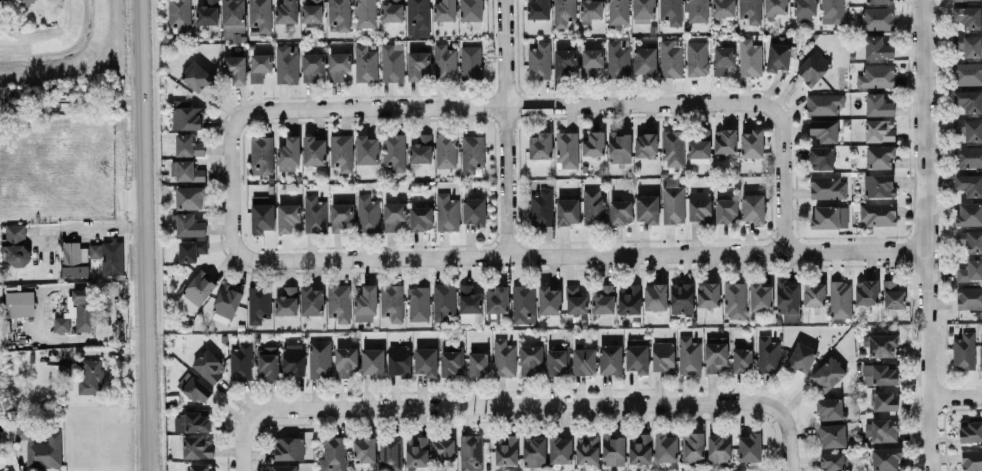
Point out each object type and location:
building: (2, 1)
building: (879, 1)
building: (21, 2)
building: (775, 7)
building: (643, 8)
building: (723, 8)
building: (538, 9)
building: (392, 10)
building: (444, 10)
building: (471, 10)
building: (590, 10)
building: (697, 10)
building: (750, 10)
building: (804, 10)
building: (286, 11)
building: (312, 11)
building: (671, 11)
building: (833, 11)
building: (208, 12)
building: (564, 12)
building: (618, 12)
building: (365, 13)
building: (180, 14)
building: (260, 14)
building: (339, 15)
building: (968, 16)
building: (233, 17)
building: (418, 18)
building: (876, 18)
building: (969, 45)
building: (878, 47)
building: (778, 56)
building: (750, 57)
building: (670, 58)
building: (697, 58)
building: (723, 58)
building: (617, 59)
building: (539, 61)
building: (592, 61)
building: (645, 61)
building: (392, 62)
building: (444, 62)
building: (471, 62)
building: (565, 62)
building: (287, 63)
building: (365, 63)
building: (418, 64)
building: (312, 65)
building: (338, 65)
building: (260, 66)
building: (813, 67)
building: (235, 68)
building: (968, 73)
building: (877, 76)
building: (197, 77)
building: (968, 100)
building: (824, 103)
road: (505, 104)
building: (878, 105)
building: (187, 115)
road: (505, 128)
building: (969, 129)
building: (824, 130)
building: (879, 130)
building: (725, 140)
building: (594, 143)
building: (752, 143)
building: (646, 144)
building: (189, 145)
building: (540, 145)
building: (619, 146)
building: (673, 147)
building: (700, 147)
building: (367, 149)
building: (420, 149)
building: (567, 149)
building: (314, 150)
building: (446, 150)
building: (341, 152)
building: (395, 152)
building: (472, 153)
building: (262, 154)
building: (289, 154)
building: (880, 156)
building: (968, 157)
building: (821, 158)
building: (187, 171)
road: (780, 181)
building: (969, 184)
building: (879, 185)
building: (828, 187)
road: (232, 194)
building: (190, 197)
building: (673, 201)
building: (593, 205)
building: (700, 206)
building: (754, 207)
building: (541, 208)
building: (647, 208)
building: (726, 210)
building: (474, 211)
building: (568, 211)
building: (447, 212)
building: (620, 212)
building: (262, 213)
building: (368, 213)
building: (878, 213)
building: (315, 214)
building: (969, 214)
building: (394, 215)
building: (288, 216)
building: (342, 217)
building: (826, 217)
building: (421, 218)
building: (188, 224)
road: (103, 227)
road: (51, 230)
road: (146, 235)
road: (924, 235)
building: (970, 240)
building: (15, 244)
building: (191, 249)
road: (591, 254)
building: (108, 255)
building: (74, 259)
building: (970, 270)
building: (197, 291)
building: (867, 291)
building: (708, 294)
building: (814, 294)
building: (893, 295)
building: (655, 296)
building: (760, 296)
building: (682, 297)
building: (969, 297)
building: (629, 298)
building: (497, 299)
building: (549, 299)
building: (604, 299)
building: (735, 299)
building: (840, 299)
building: (228, 300)
building: (312, 300)
building: (444, 300)
building: (576, 300)
building: (788, 300)
building: (287, 301)
building: (392, 301)
building: (339, 302)
building: (20, 303)
building: (259, 303)
building: (366, 303)
building: (419, 303)
building: (523, 303)
building: (470, 304)
building: (77, 311)
building: (880, 344)
building: (964, 351)
building: (768, 354)
building: (689, 355)
building: (716, 355)
building: (980, 355)
building: (663, 356)
building: (504, 357)
building: (801, 357)
building: (293, 358)
building: (611, 358)
building: (638, 358)
building: (320, 359)
building: (531, 359)
building: (399, 360)
building: (426, 360)
building: (556, 360)
building: (742, 360)
building: (241, 361)
building: (346, 361)
building: (373, 361)
building: (584, 361)
building: (268, 362)
building: (478, 363)
building: (451, 364)
building: (210, 366)
building: (828, 374)
building: (91, 376)
building: (194, 387)
road: (956, 396)
building: (885, 400)
road: (517, 406)
building: (830, 408)
building: (192, 422)
building: (881, 429)
building: (970, 431)
building: (832, 435)
road: (242, 443)
road: (789, 443)
building: (40, 446)
building: (198, 446)
building: (750, 446)
building: (665, 447)
building: (693, 447)
building: (719, 447)
building: (289, 448)
building: (443, 448)
building: (587, 448)
building: (640, 448)
building: (365, 449)
building: (506, 449)
building: (560, 449)
building: (613, 449)
building: (534, 450)
building: (417, 451)
building: (471, 452)
building: (391, 453)
building: (333, 454)
building: (885, 458)
building: (972, 460)
building: (833, 461)
building: (201, 467)
building: (284, 467)
building: (8, 469)

